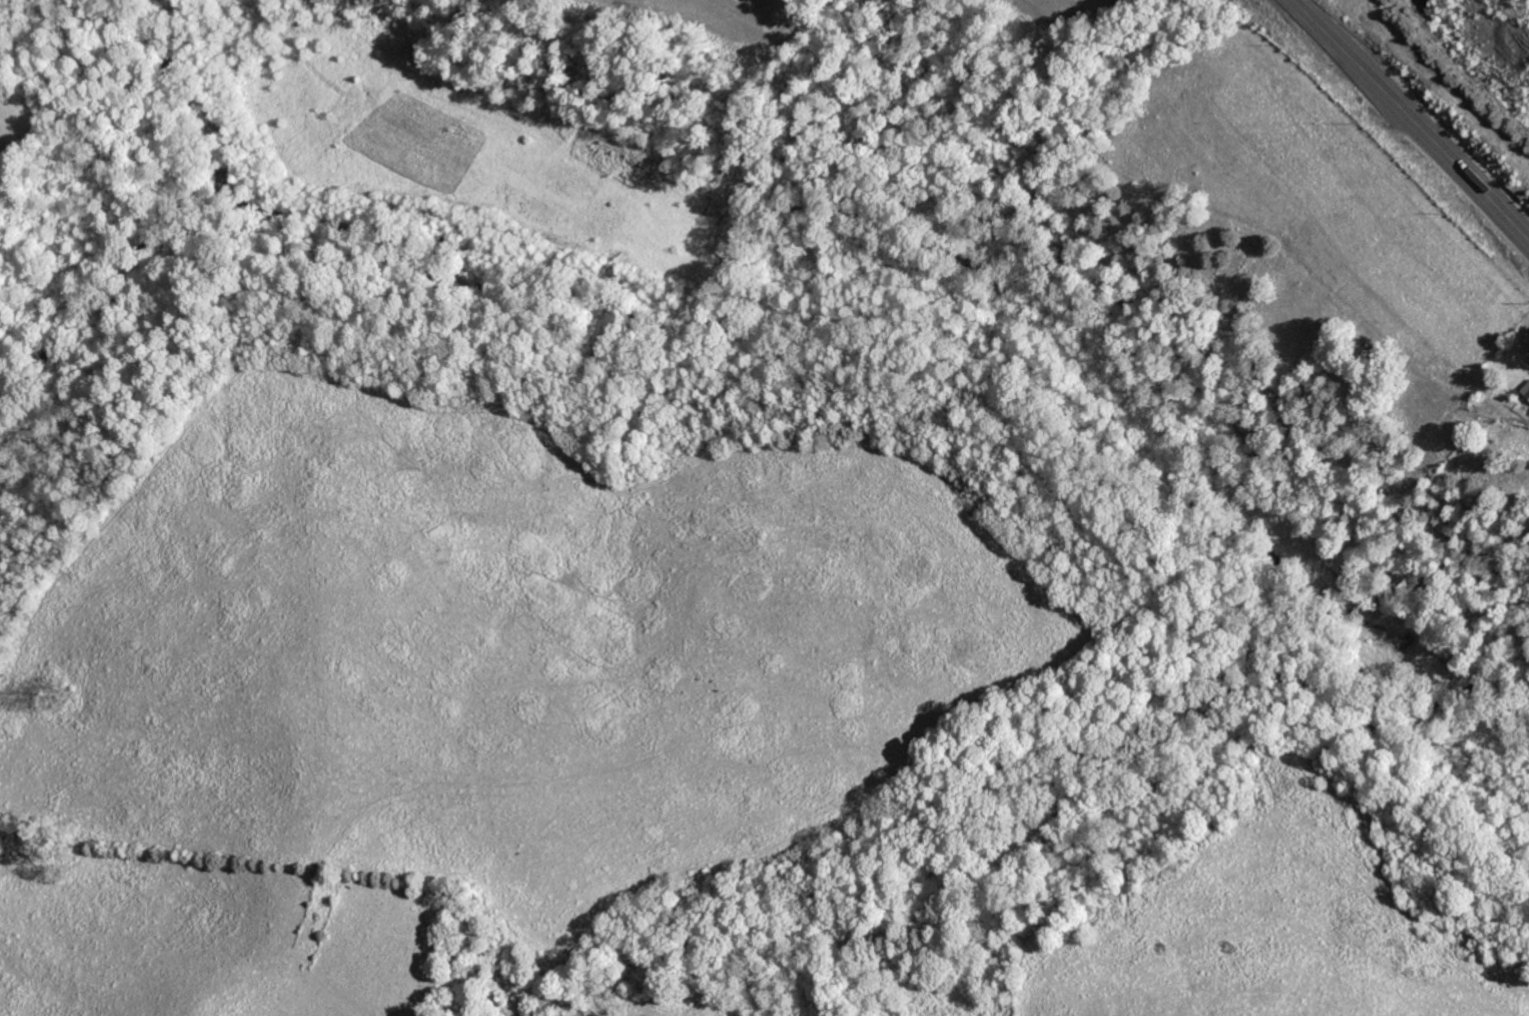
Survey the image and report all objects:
road: (1411, 122)

